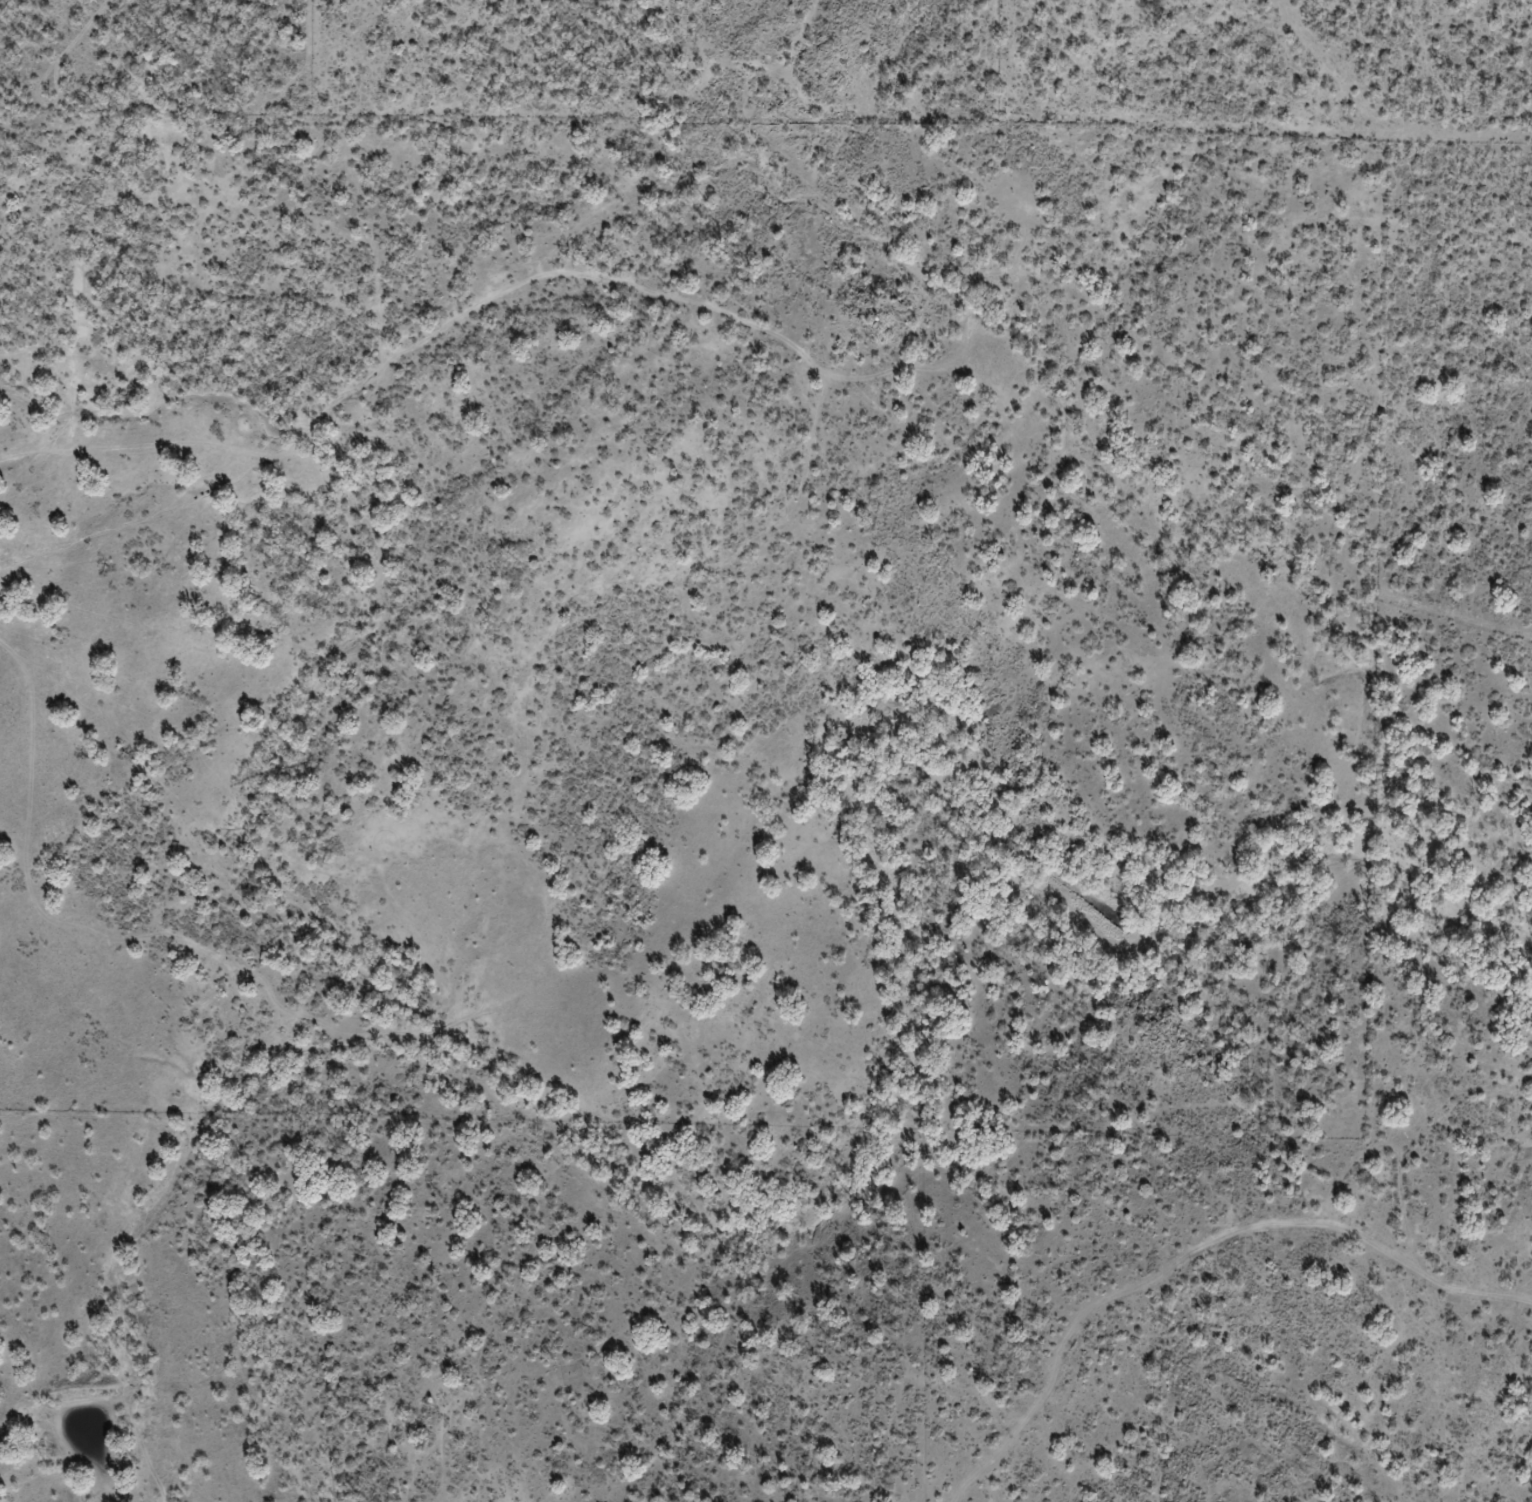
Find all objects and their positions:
road: (1197, 1262)

